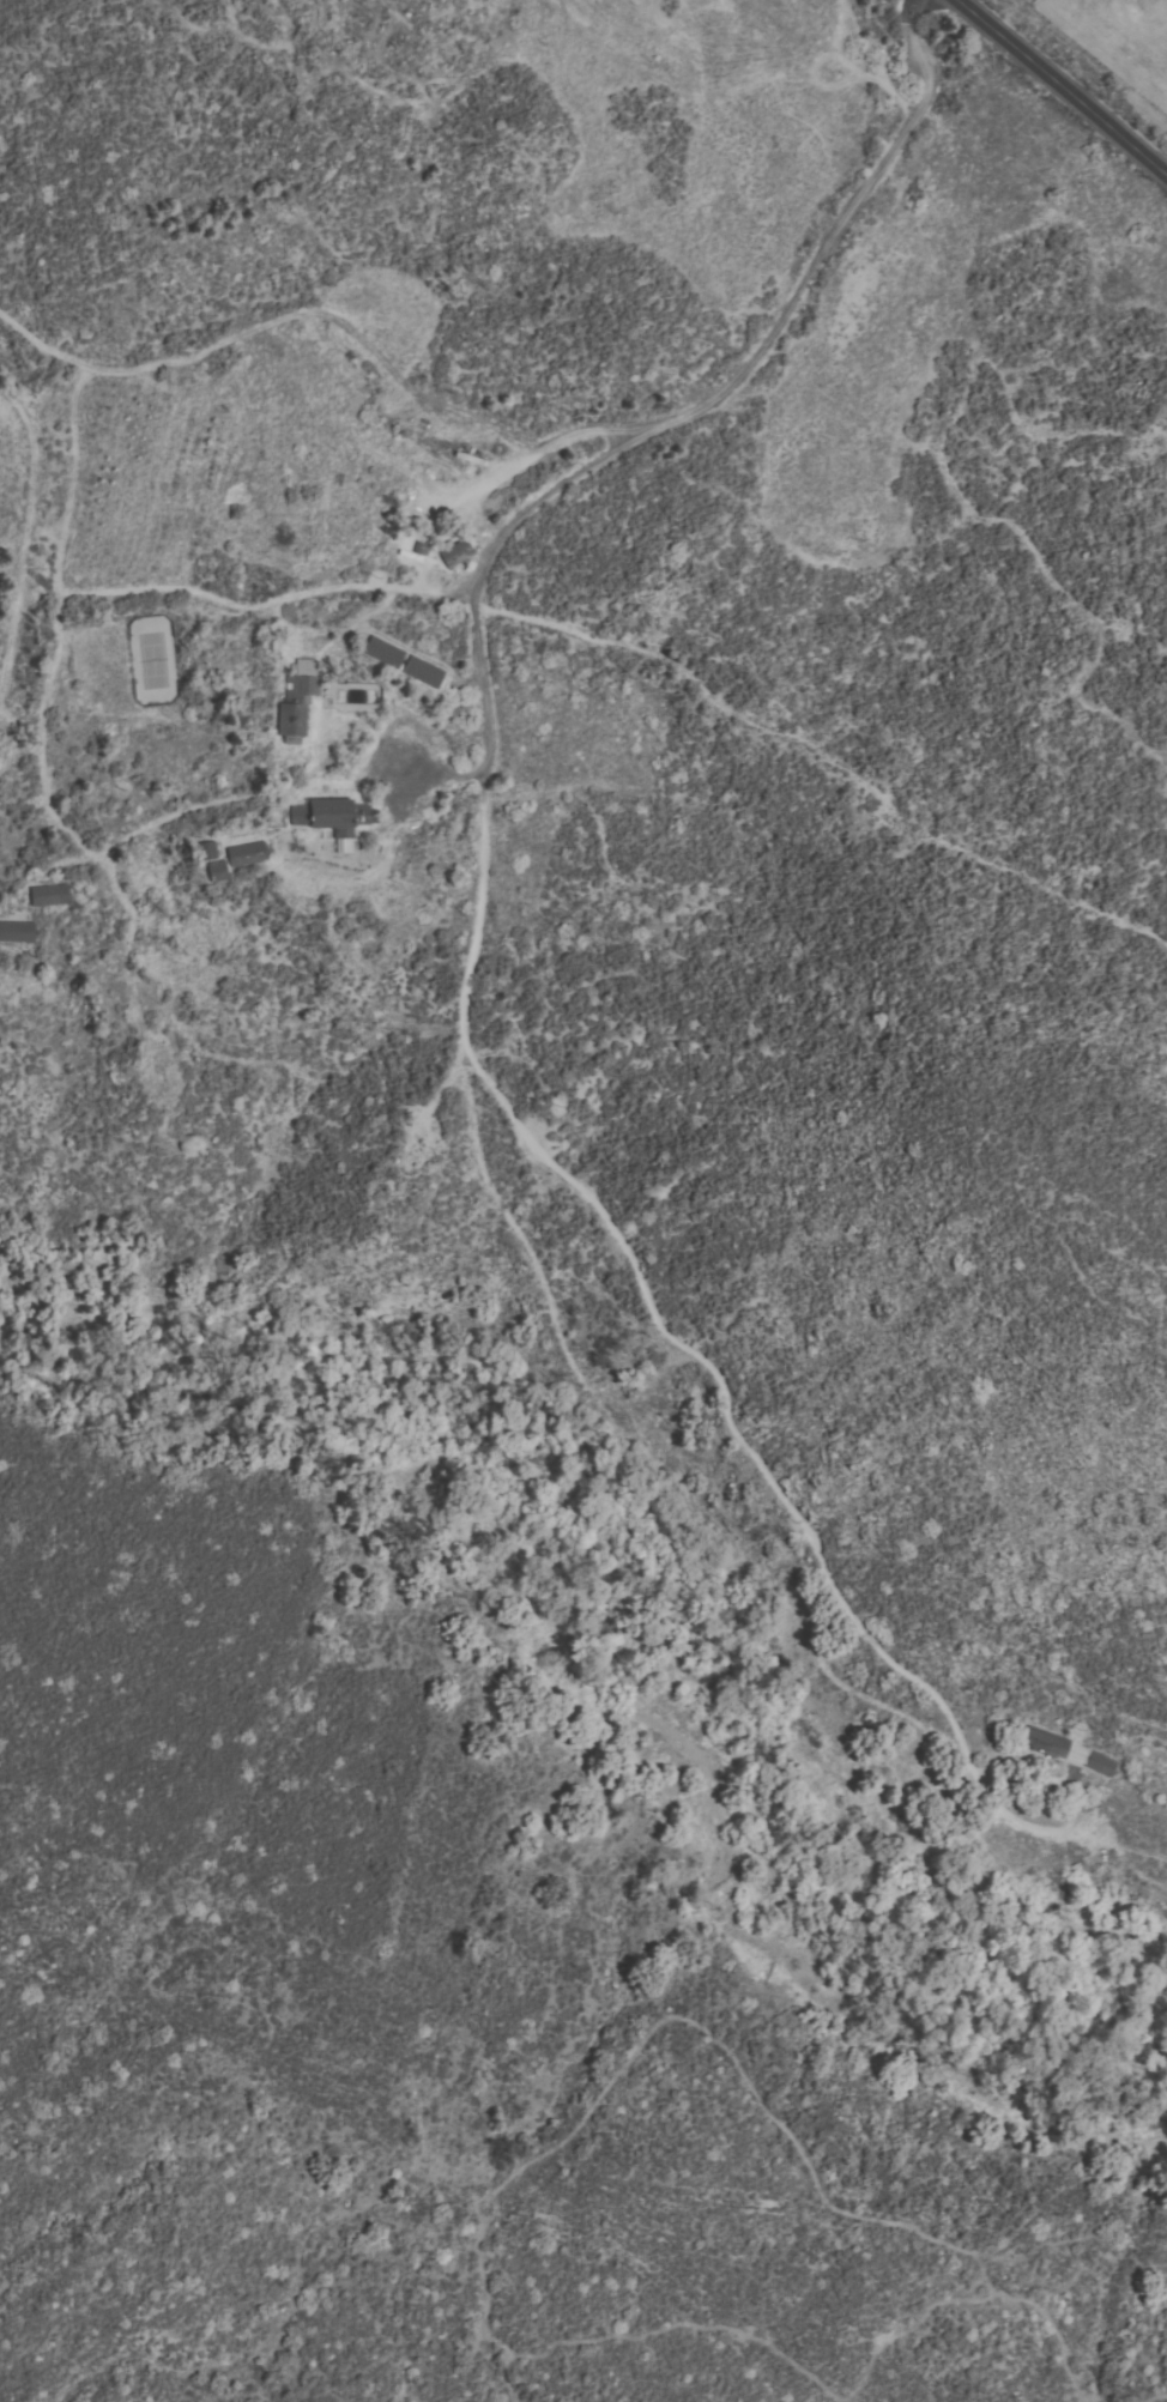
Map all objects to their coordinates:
road: (1064, 85)
building: (455, 551)
building: (383, 649)
building: (423, 670)
building: (297, 696)
building: (363, 812)
building: (327, 817)
building: (246, 852)
building: (49, 894)
building: (17, 930)
building: (1046, 1741)
building: (1101, 1763)

